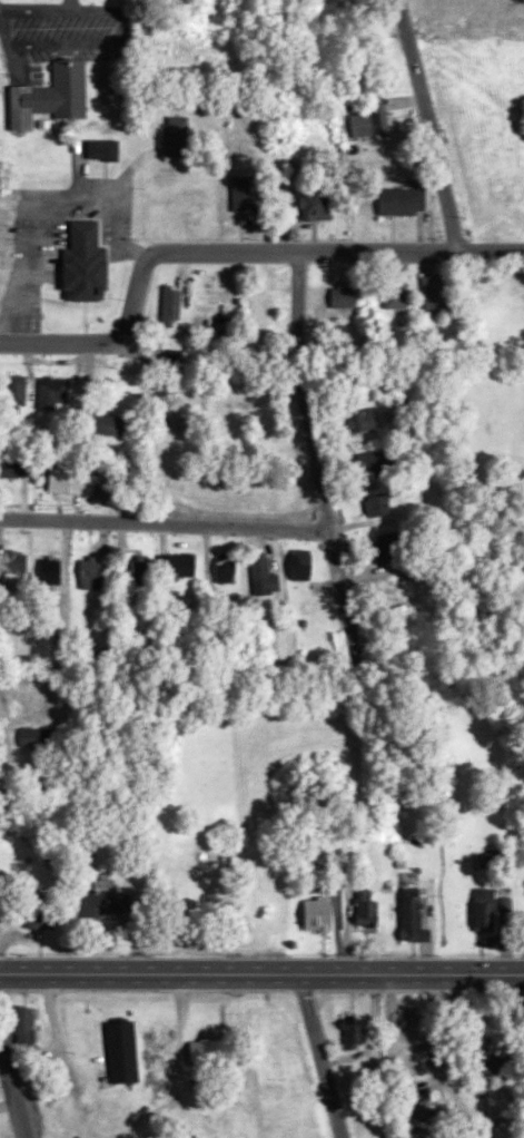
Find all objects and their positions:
building: (50, 96)
building: (369, 119)
road: (428, 126)
building: (175, 136)
building: (102, 149)
building: (240, 193)
road: (90, 202)
building: (402, 202)
building: (314, 204)
road: (120, 238)
road: (230, 252)
road: (33, 258)
building: (83, 264)
building: (207, 288)
building: (436, 292)
building: (394, 294)
building: (342, 296)
building: (170, 305)
building: (170, 359)
building: (51, 392)
building: (12, 393)
building: (360, 420)
building: (105, 424)
road: (314, 463)
building: (374, 463)
building: (14, 468)
building: (58, 480)
building: (376, 506)
road: (164, 523)
building: (388, 548)
building: (13, 562)
building: (299, 563)
building: (179, 566)
building: (225, 568)
building: (49, 571)
building: (139, 571)
building: (90, 572)
building: (263, 576)
building: (397, 587)
building: (411, 624)
road: (2, 686)
building: (31, 698)
building: (34, 737)
building: (491, 860)
building: (99, 904)
building: (365, 909)
building: (483, 909)
building: (40, 911)
building: (317, 914)
building: (412, 916)
road: (261, 972)
building: (23, 1026)
building: (353, 1032)
building: (413, 1047)
building: (268, 1049)
building: (211, 1050)
building: (122, 1052)
road: (319, 1056)
building: (493, 1063)
building: (158, 1075)
road: (12, 1083)
building: (426, 1114)

